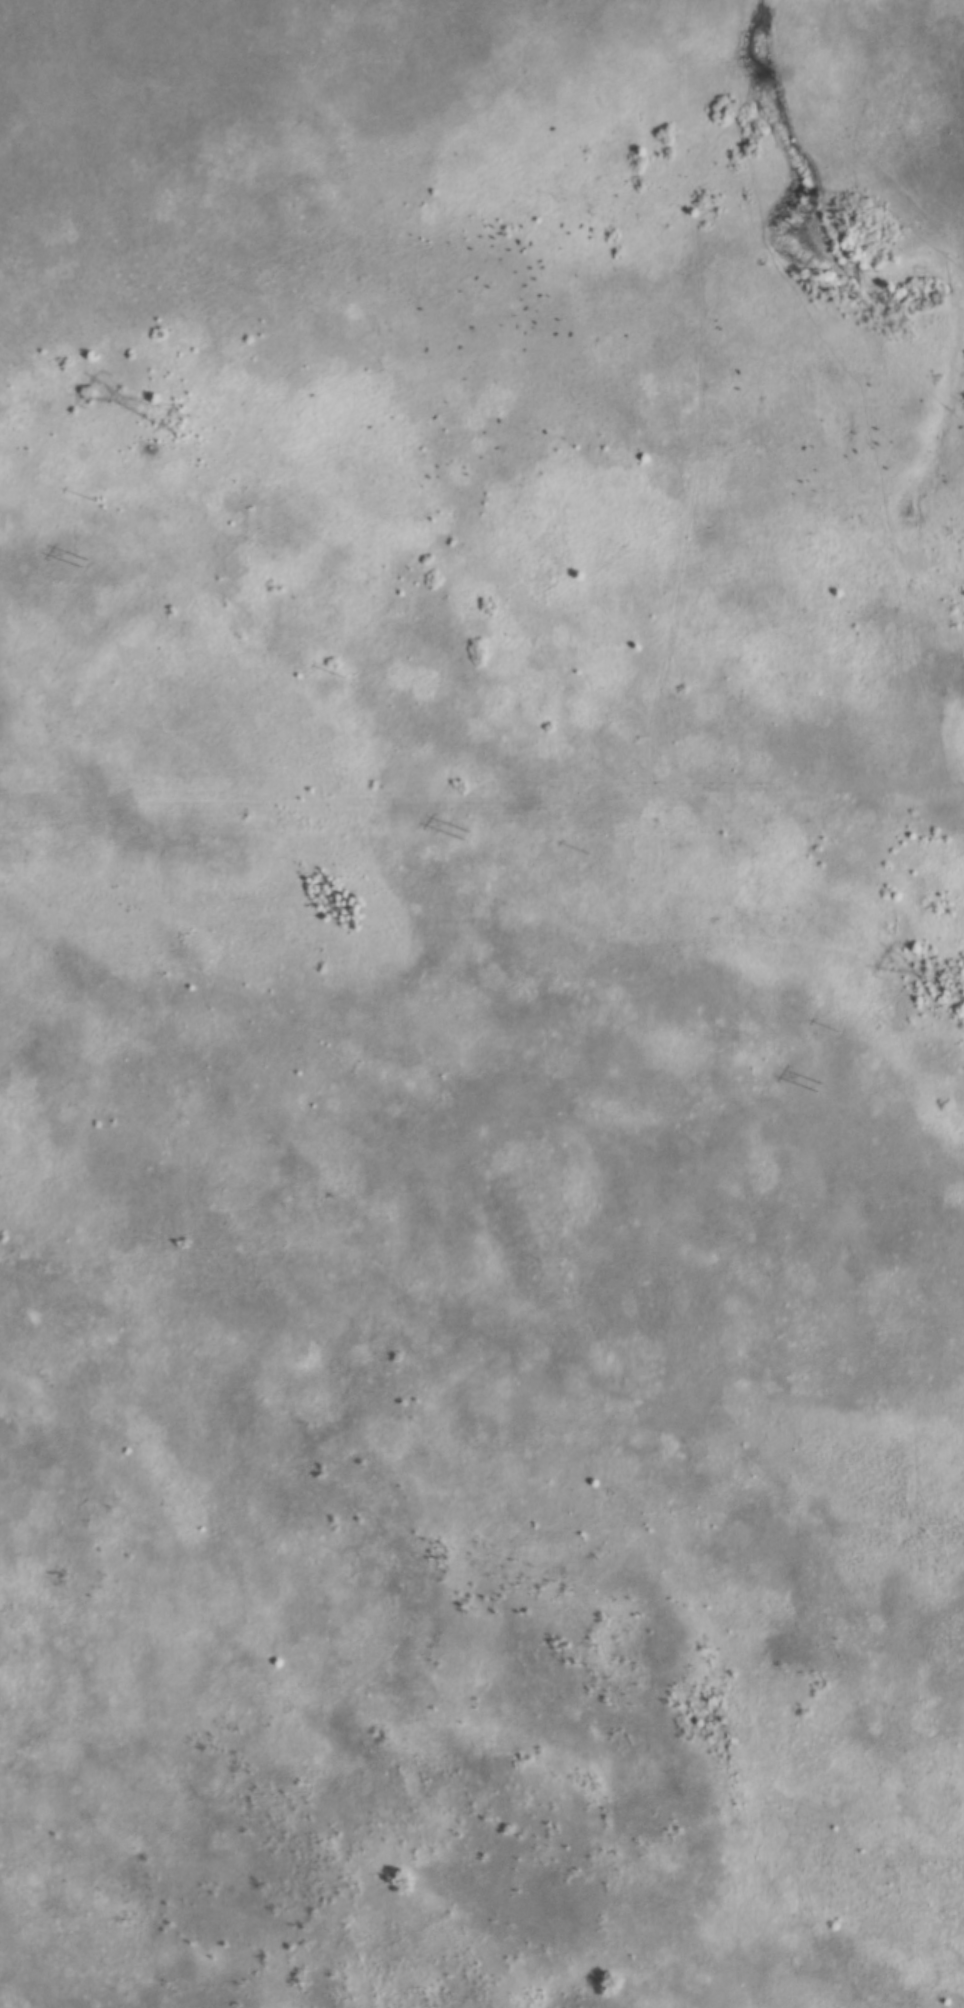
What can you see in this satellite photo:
power tower: (169, 417)

